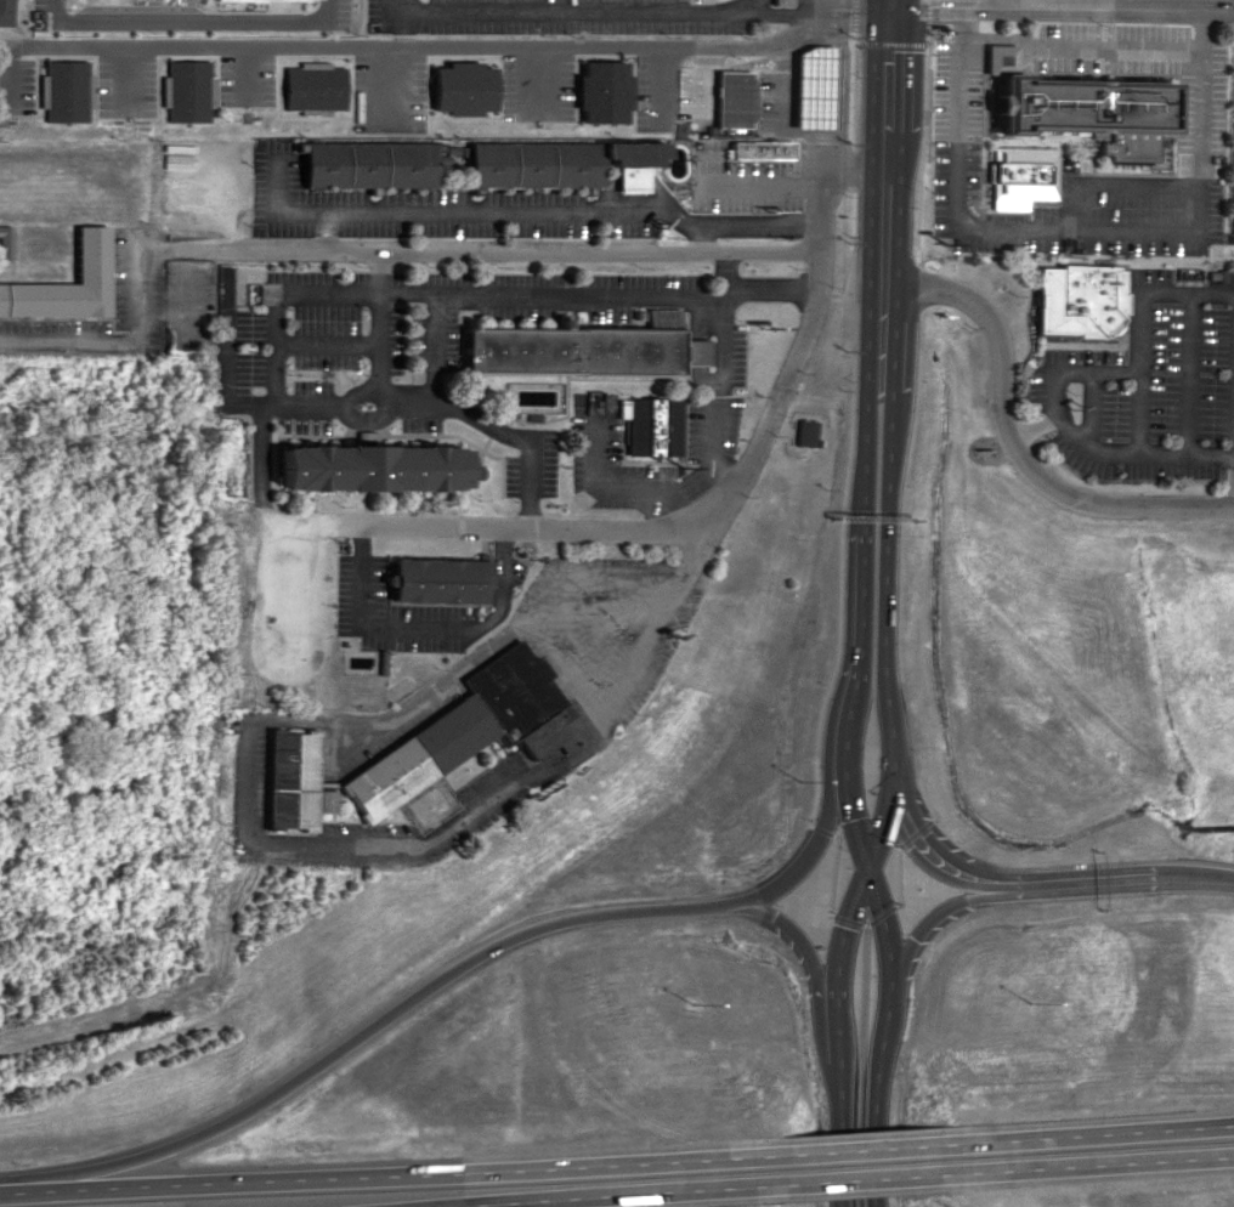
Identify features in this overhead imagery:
building: (780, 1)
road: (887, 2)
traffic signals: (887, 5)
road: (1059, 5)
road: (827, 10)
building: (5, 12)
road: (606, 12)
road: (849, 17)
road: (191, 18)
road: (923, 18)
road: (885, 36)
road: (453, 46)
road: (1082, 52)
building: (312, 86)
building: (459, 87)
building: (63, 90)
building: (187, 91)
building: (601, 91)
building: (798, 91)
gas station: (798, 91)
building: (729, 100)
building: (1072, 109)
road: (883, 144)
building: (759, 153)
building: (468, 161)
building: (1017, 176)
road: (1113, 182)
road: (523, 214)
road: (1082, 228)
building: (4, 240)
road: (481, 249)
building: (87, 261)
road: (836, 272)
road: (545, 296)
building: (1072, 304)
road: (885, 311)
road: (872, 312)
road: (380, 327)
road: (1137, 328)
road: (114, 335)
building: (562, 356)
road: (1066, 372)
road: (1188, 375)
road: (1087, 412)
road: (912, 424)
road: (847, 429)
road: (1028, 429)
building: (805, 432)
building: (650, 435)
road: (1008, 442)
road: (1134, 455)
building: (369, 471)
road: (257, 483)
road: (707, 512)
road: (887, 545)
road: (857, 549)
building: (436, 584)
building: (418, 748)
road: (248, 776)
road: (816, 823)
road: (911, 824)
road: (918, 835)
road: (808, 849)
traffic signals: (865, 867)
road: (894, 869)
road: (826, 871)
road: (1110, 883)
road: (877, 908)
road: (842, 916)
road: (927, 926)
road: (798, 937)
road: (840, 975)
road: (887, 980)
road: (389, 1015)
road: (859, 1064)
road: (1082, 1126)
road: (861, 1140)
road: (1081, 1160)
road: (395, 1164)
road: (860, 1175)
road: (598, 1190)

